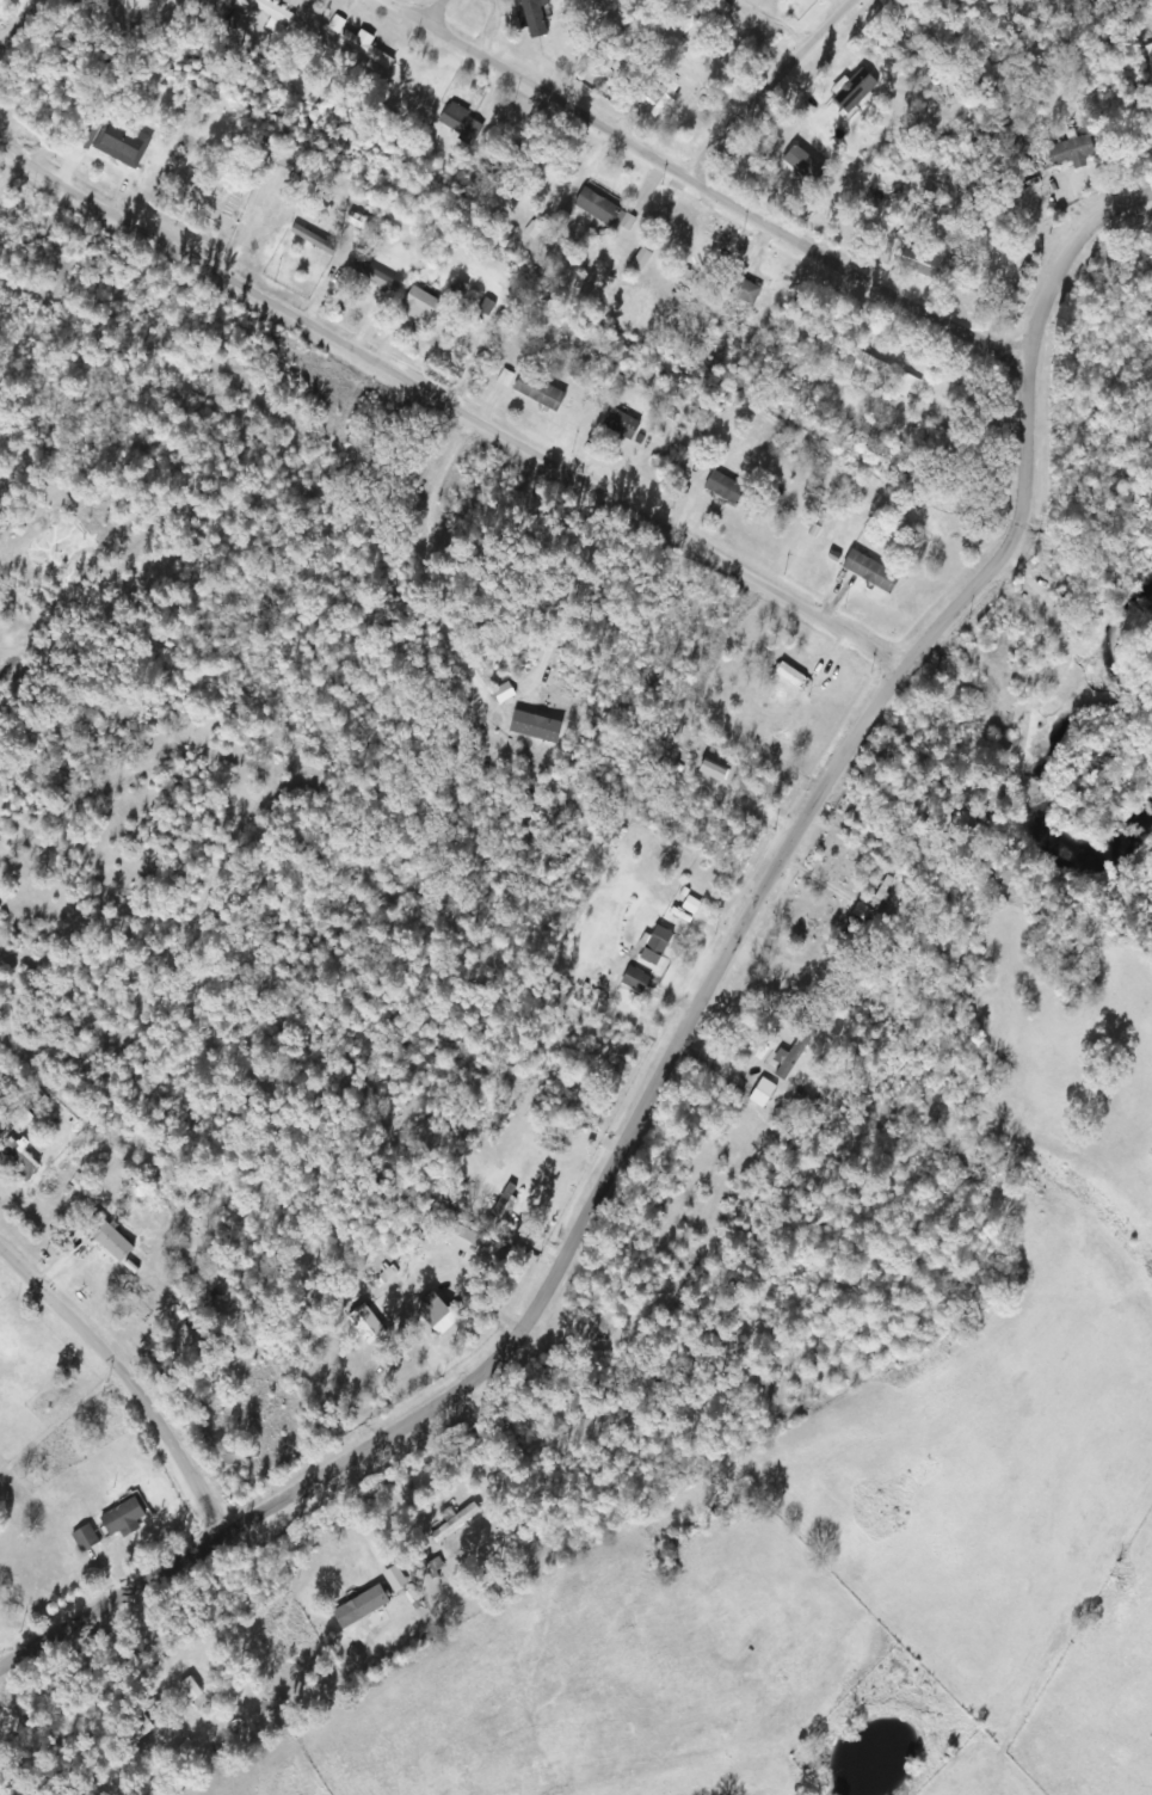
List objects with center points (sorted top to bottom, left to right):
building: (273, 16)
road: (455, 16)
building: (534, 18)
road: (30, 32)
building: (364, 48)
building: (910, 54)
building: (852, 91)
road: (789, 93)
building: (458, 123)
building: (121, 142)
building: (1071, 152)
road: (709, 189)
building: (597, 207)
building: (372, 276)
building: (429, 308)
building: (901, 383)
road: (452, 413)
building: (618, 424)
building: (722, 487)
building: (868, 570)
building: (783, 677)
road: (31, 738)
building: (1009, 874)
building: (885, 896)
building: (654, 946)
building: (632, 981)
road: (697, 1023)
building: (784, 1058)
building: (760, 1093)
building: (18, 1118)
building: (16, 1161)
building: (105, 1238)
building: (478, 1247)
building: (438, 1309)
road: (134, 1383)
building: (230, 1459)
building: (123, 1518)
building: (452, 1523)
building: (82, 1538)
building: (362, 1604)
building: (190, 1690)
building: (271, 1707)
building: (170, 1739)
road: (788, 1785)

